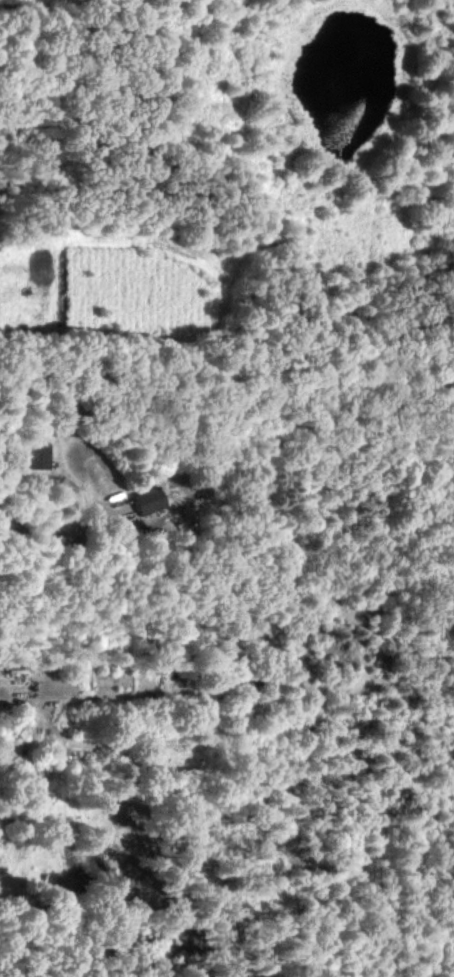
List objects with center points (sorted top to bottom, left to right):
building: (38, 454)
building: (148, 500)

